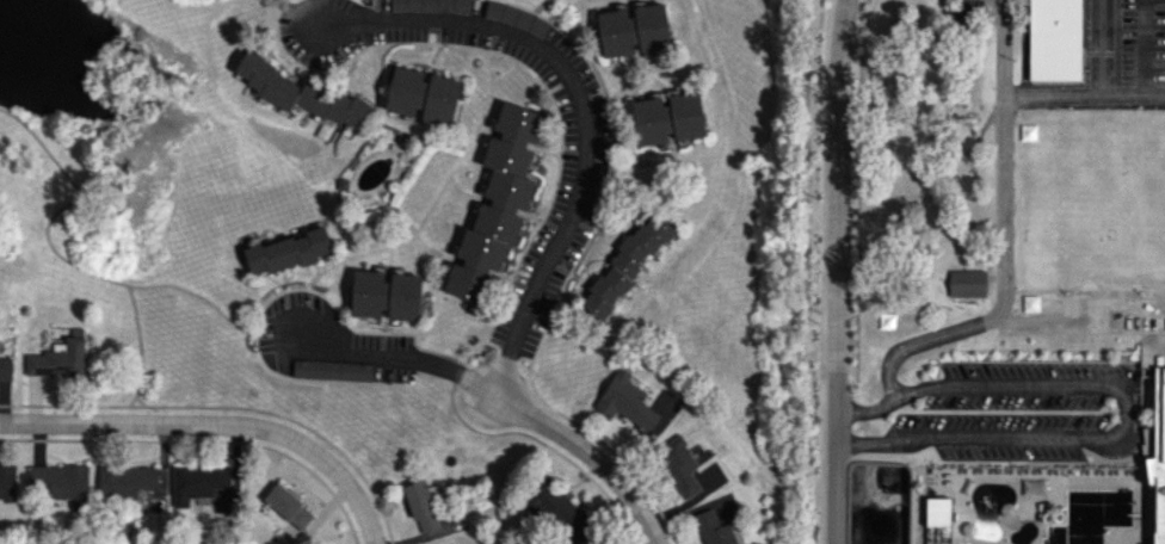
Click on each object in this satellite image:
building: (430, 5)
building: (516, 18)
building: (633, 30)
building: (1054, 39)
road: (1099, 49)
building: (300, 92)
building: (421, 94)
road: (1084, 98)
road: (582, 100)
building: (667, 118)
building: (518, 123)
building: (507, 173)
road: (1004, 236)
building: (489, 237)
building: (288, 252)
building: (624, 265)
road: (837, 271)
building: (464, 283)
building: (966, 283)
building: (384, 295)
road: (1077, 308)
building: (57, 359)
building: (5, 366)
building: (331, 370)
road: (503, 395)
road: (1128, 400)
building: (625, 401)
road: (868, 410)
road: (216, 427)
road: (877, 444)
building: (1157, 458)
building: (678, 464)
building: (125, 480)
building: (7, 482)
building: (60, 482)
building: (198, 483)
building: (288, 506)
building: (421, 506)
building: (937, 511)
building: (561, 513)
building: (713, 528)

